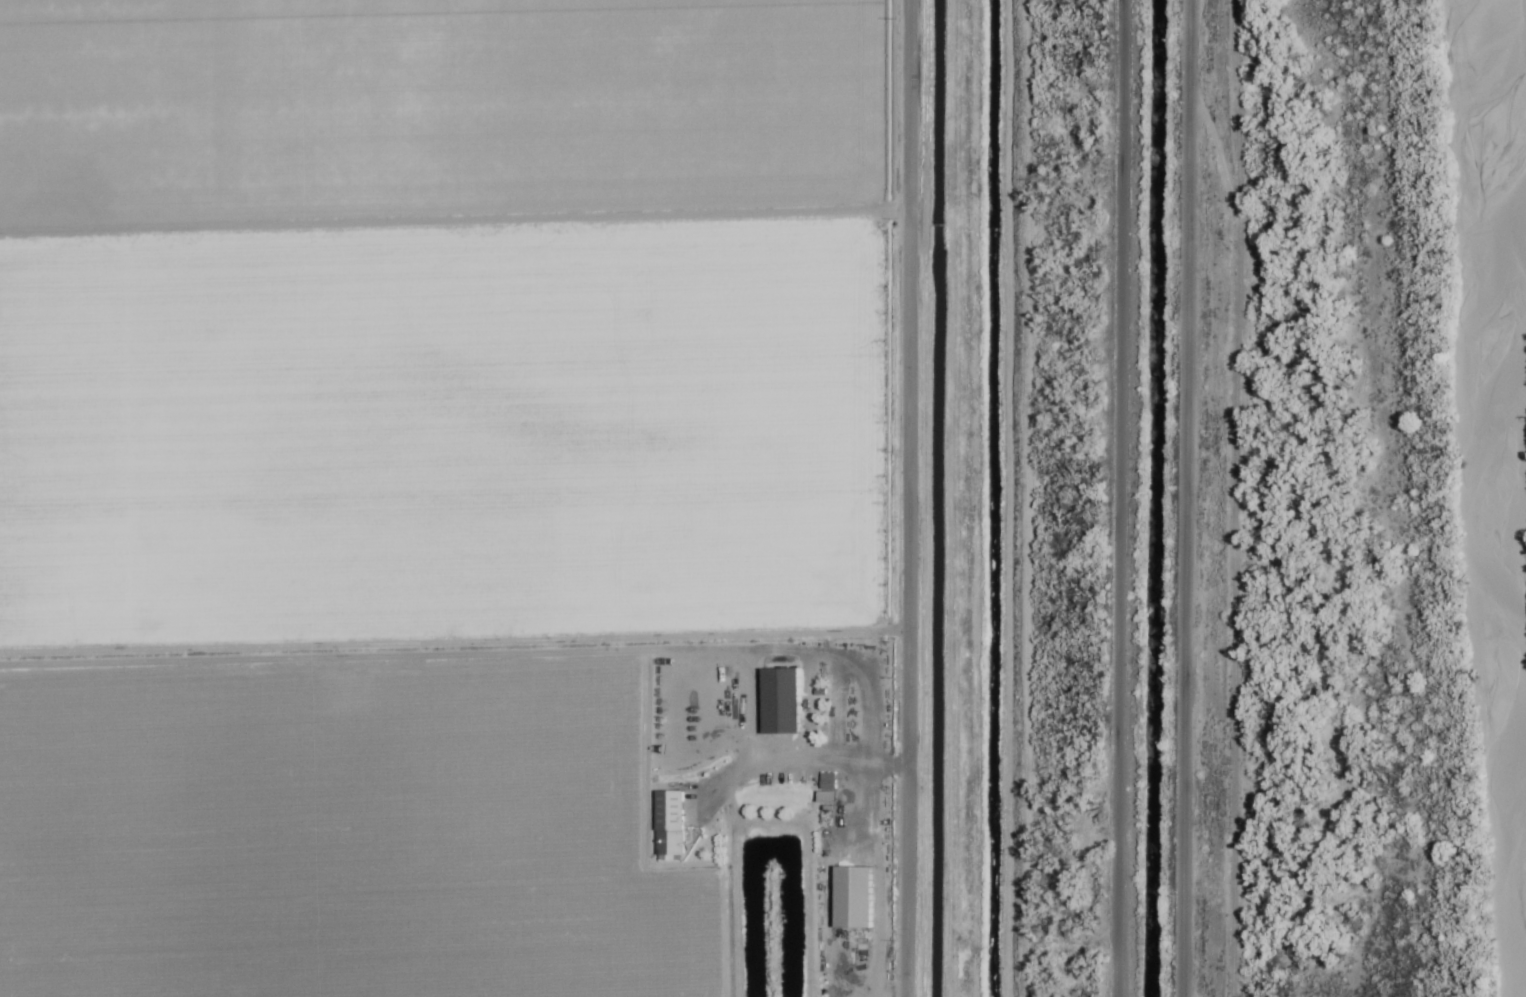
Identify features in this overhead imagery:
road: (899, 498)
road: (1110, 498)
road: (1168, 498)
river: (1495, 498)
building: (780, 701)
building: (826, 781)
building: (824, 797)
building: (668, 823)
building: (852, 897)

